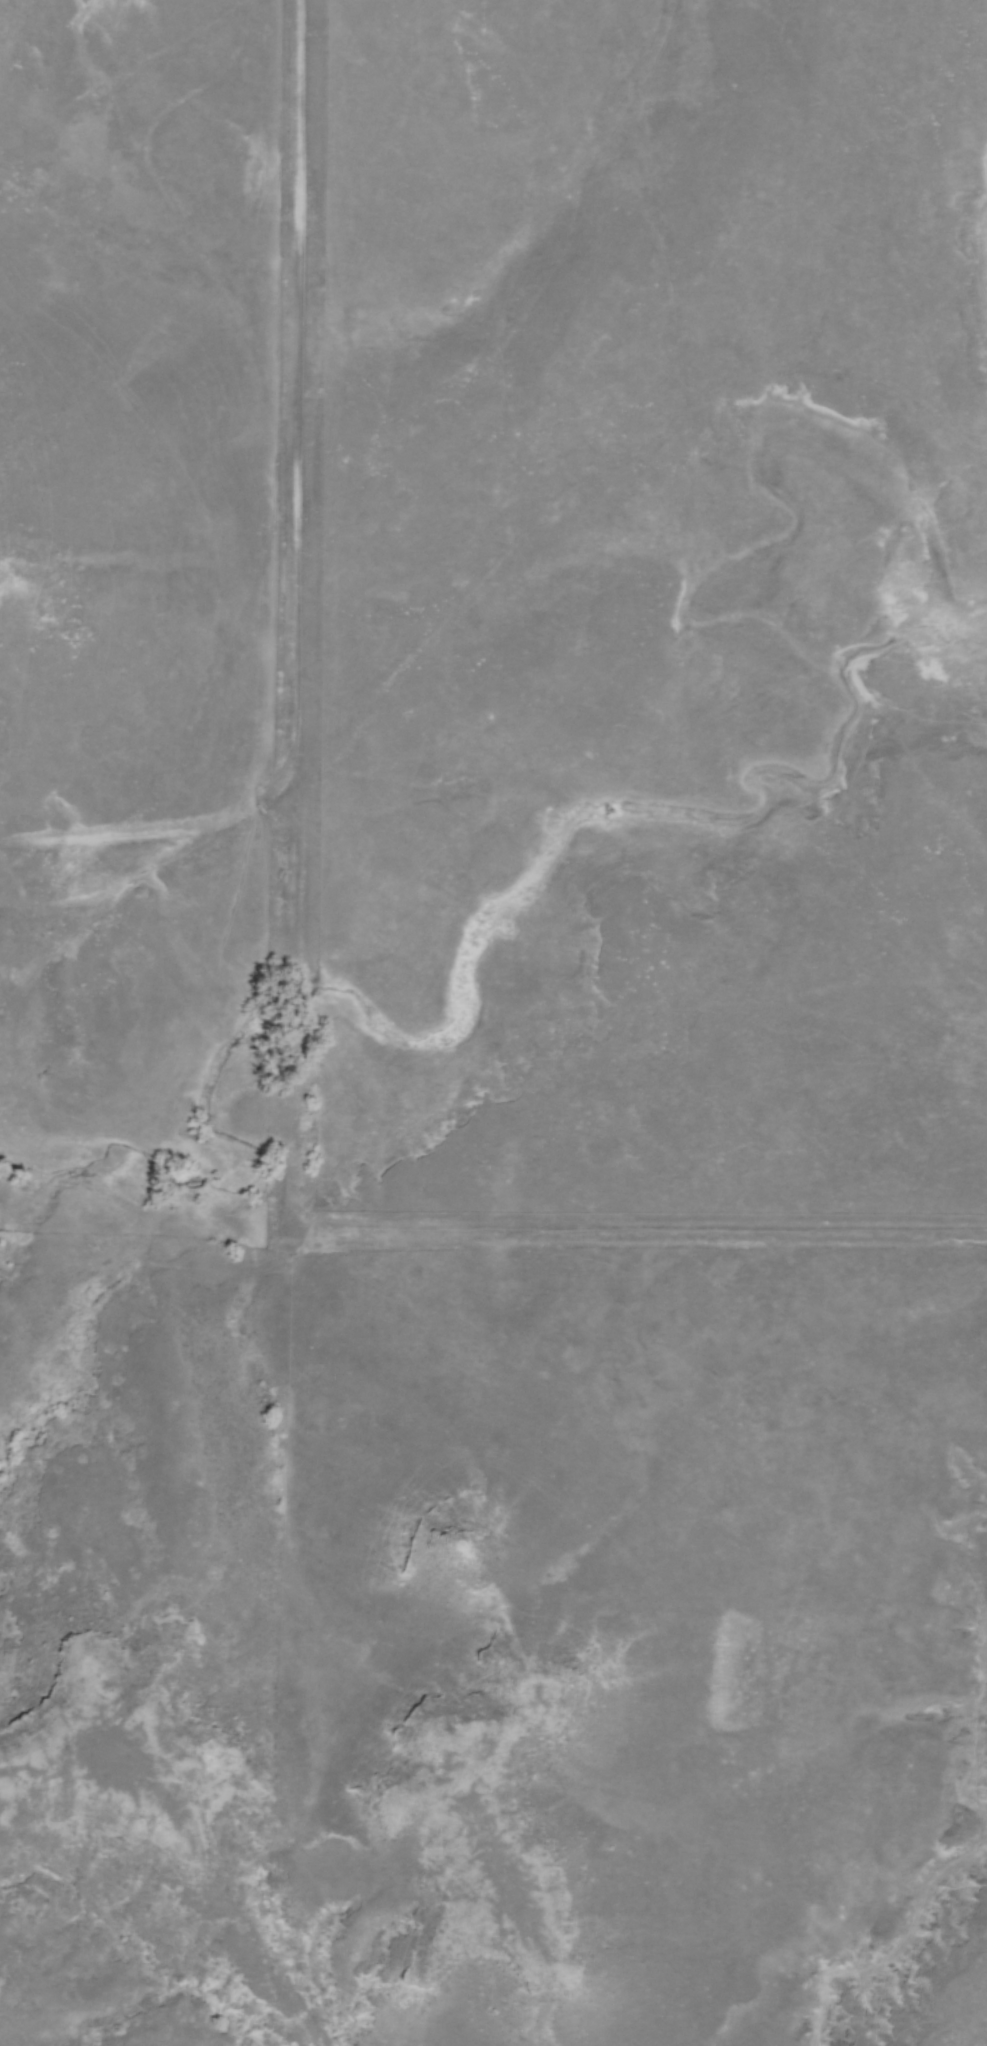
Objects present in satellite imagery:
road: (301, 396)
road: (147, 838)

